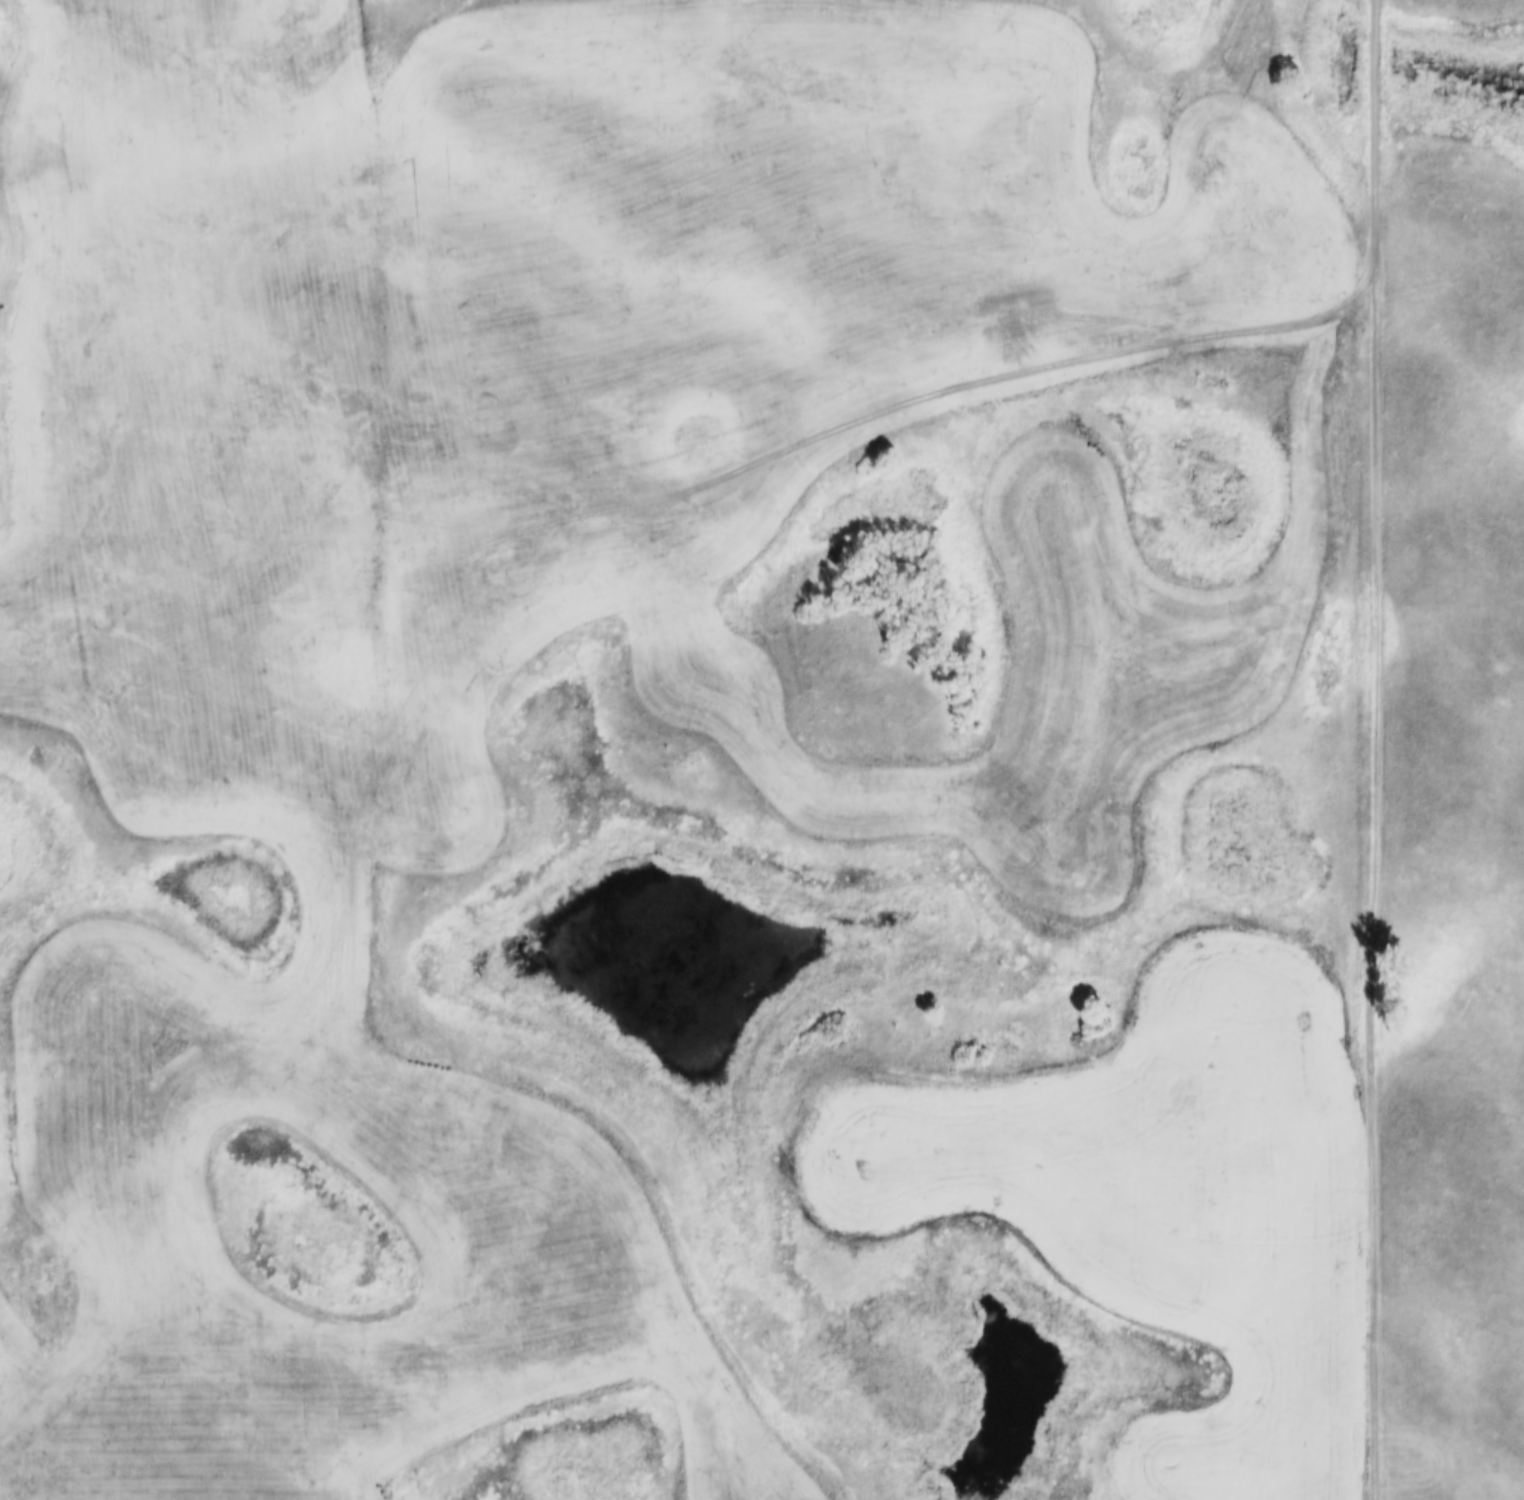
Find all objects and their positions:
road: (1374, 750)

